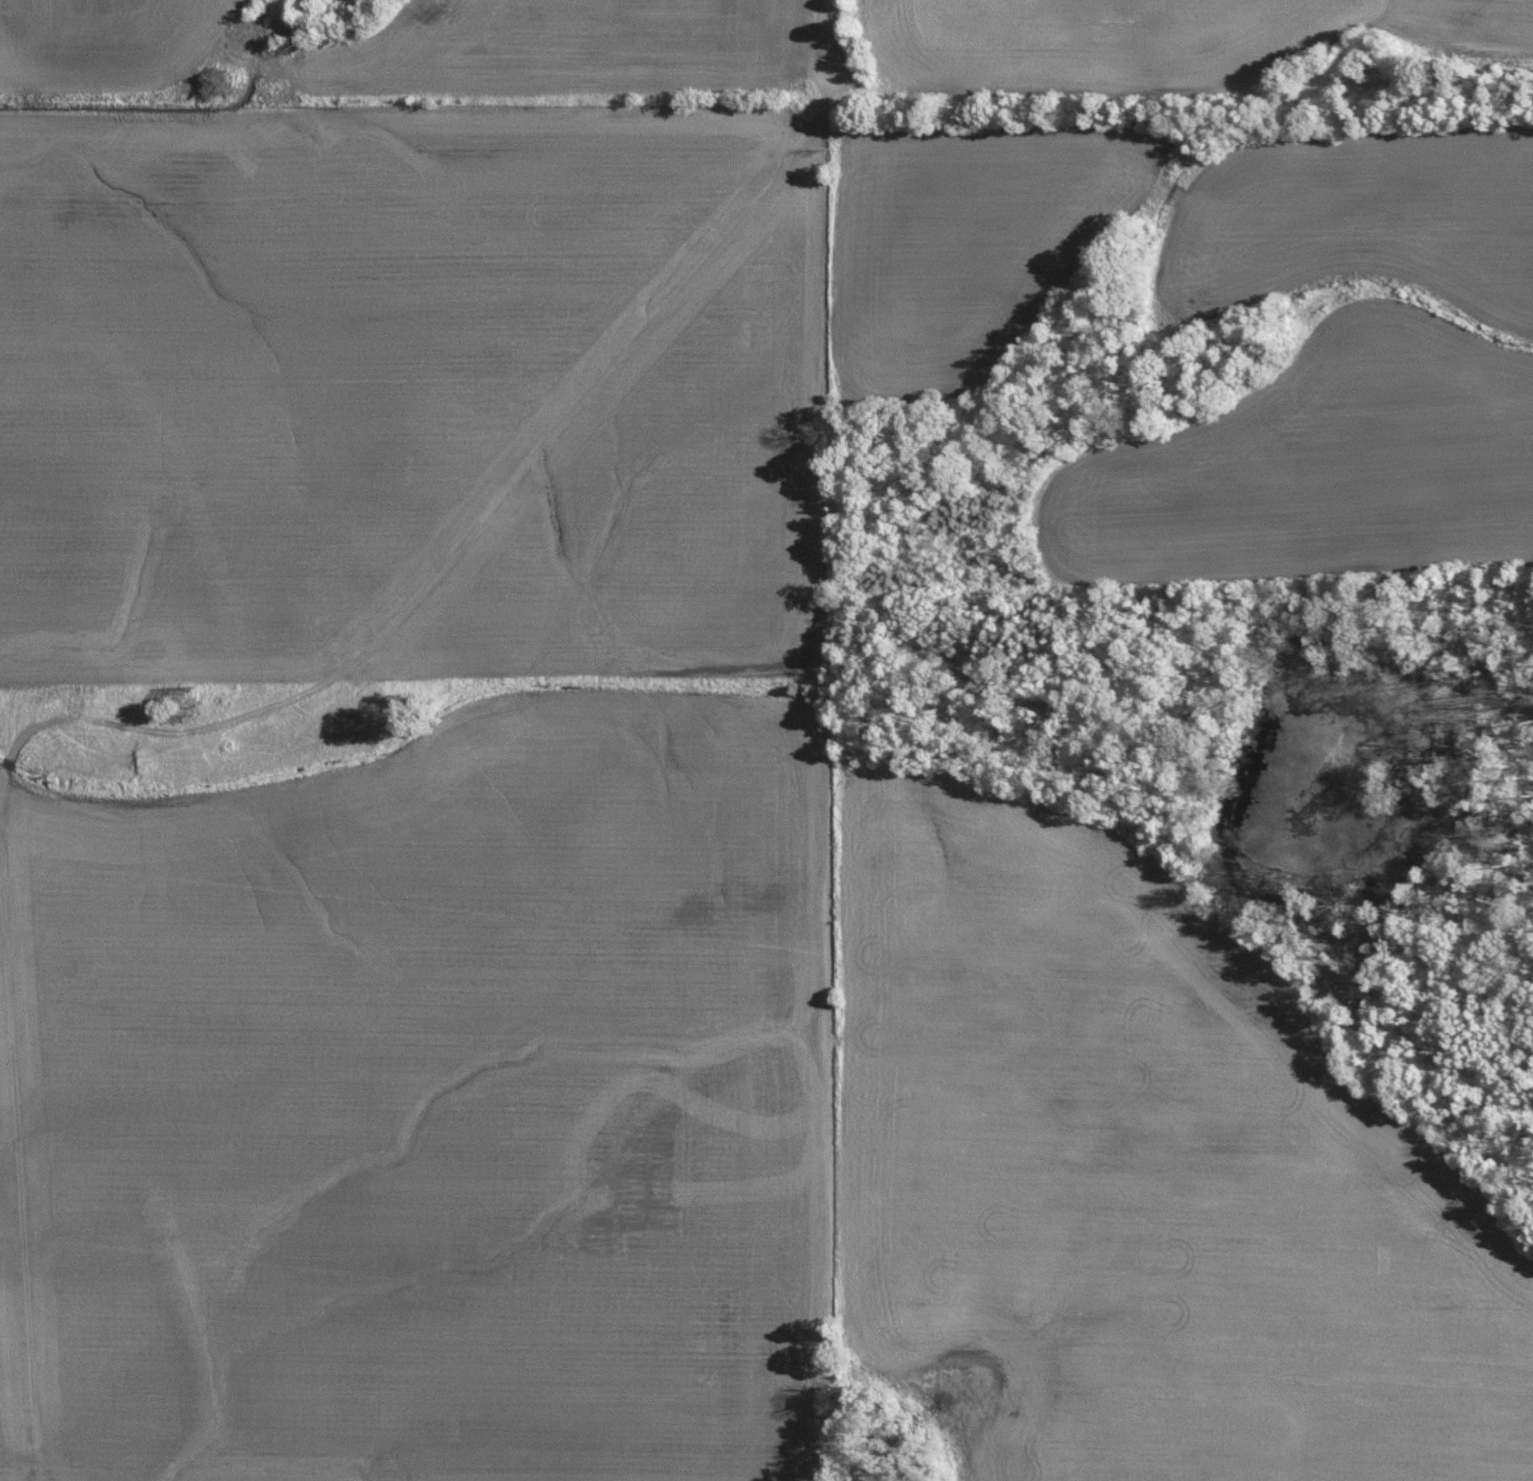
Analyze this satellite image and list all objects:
road: (822, 55)

